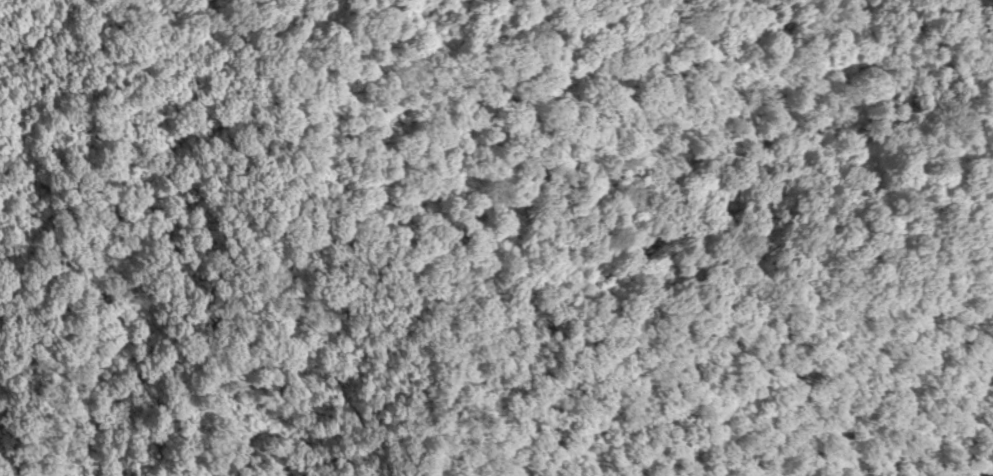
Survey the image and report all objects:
road: (983, 467)

